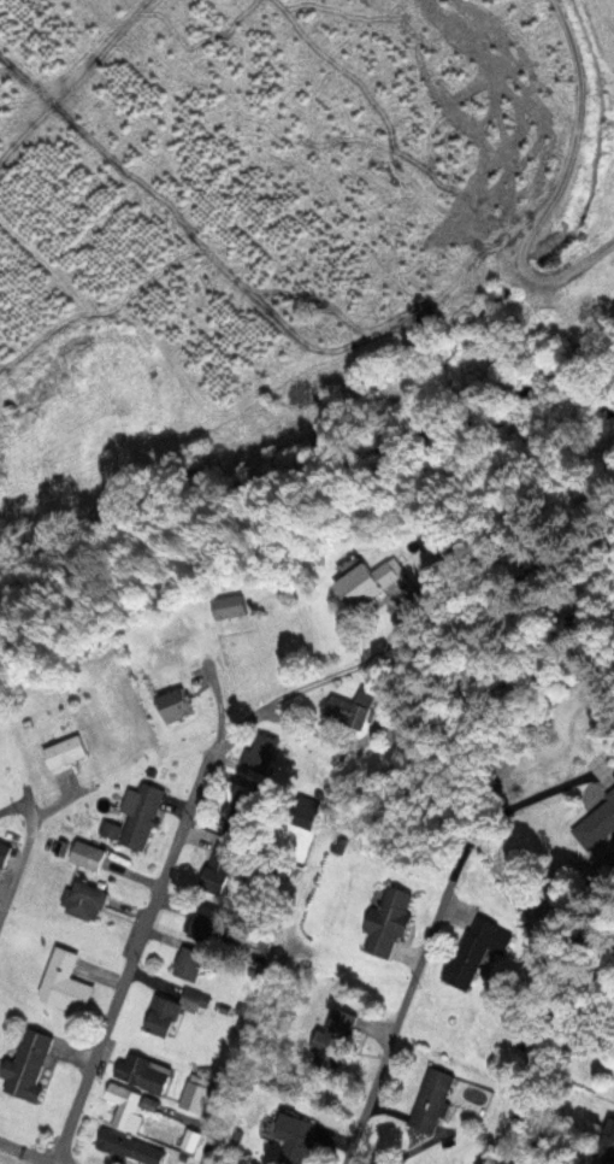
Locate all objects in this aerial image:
road: (551, 278)
building: (372, 583)
building: (229, 605)
building: (175, 702)
building: (352, 706)
building: (65, 751)
building: (262, 752)
building: (232, 811)
building: (137, 813)
building: (598, 824)
road: (176, 841)
building: (4, 851)
building: (88, 853)
road: (20, 854)
building: (223, 862)
building: (85, 899)
building: (389, 921)
building: (551, 921)
building: (214, 925)
building: (478, 950)
building: (190, 962)
building: (65, 982)
road: (411, 989)
building: (197, 999)
building: (163, 1013)
building: (335, 1040)
road: (243, 1044)
building: (29, 1063)
building: (143, 1072)
building: (195, 1095)
building: (436, 1097)
building: (152, 1101)
building: (125, 1104)
building: (613, 1133)
building: (190, 1139)
building: (296, 1139)
building: (129, 1145)
road: (26, 1153)
building: (610, 1156)

